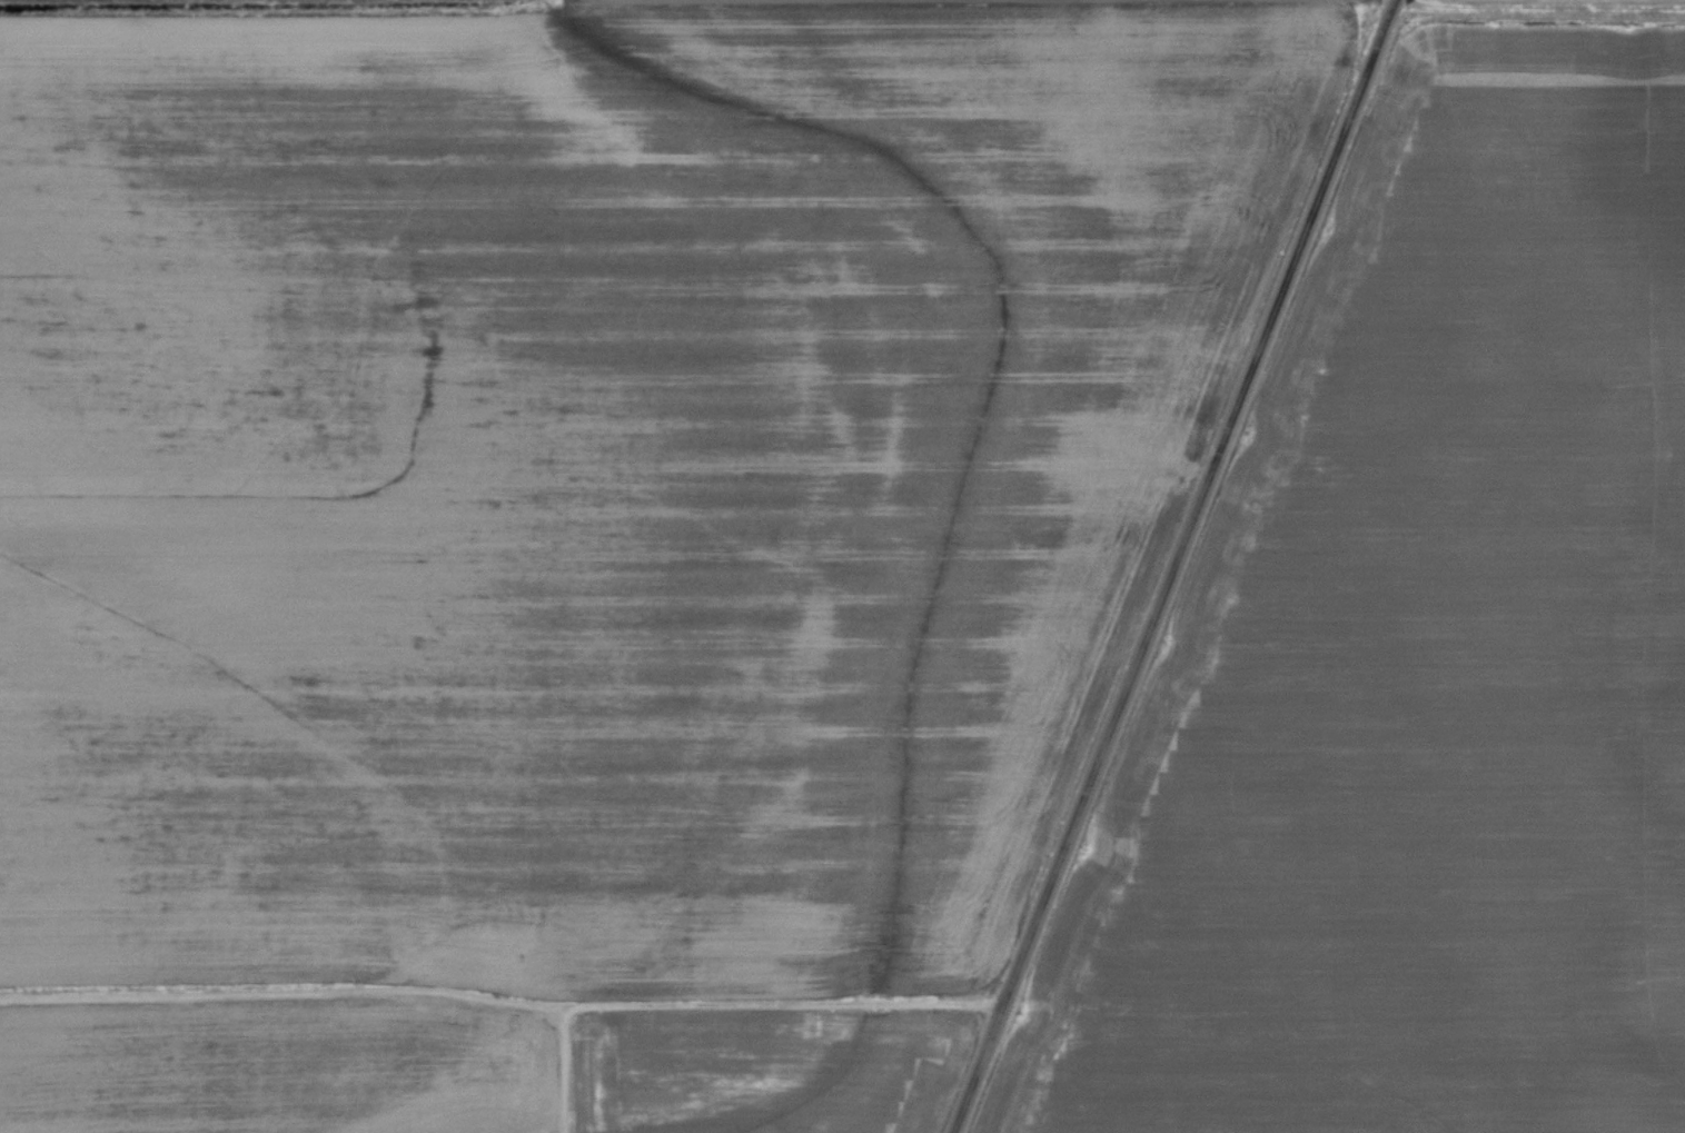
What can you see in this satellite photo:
road: (1508, 7)
road: (1122, 573)
road: (468, 1004)

